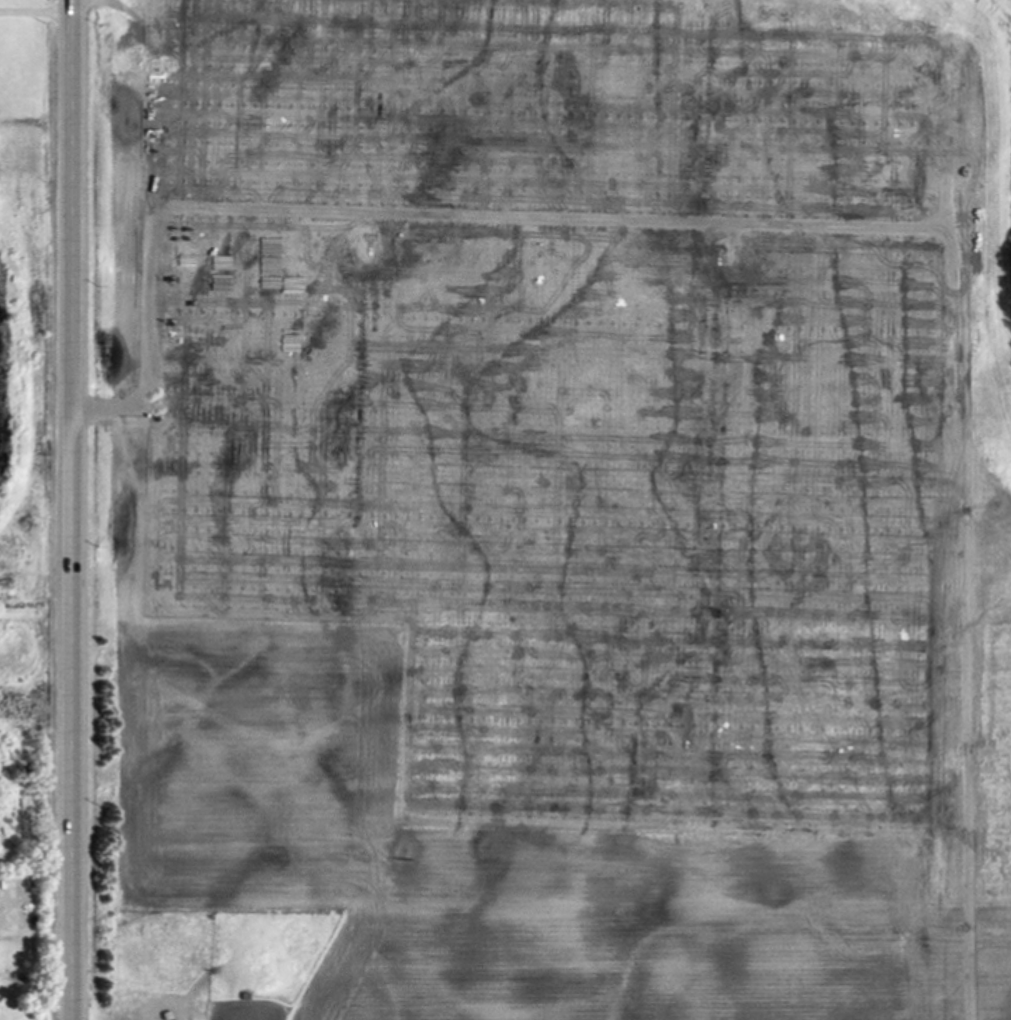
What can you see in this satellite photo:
road: (36, 13)
road: (70, 509)

